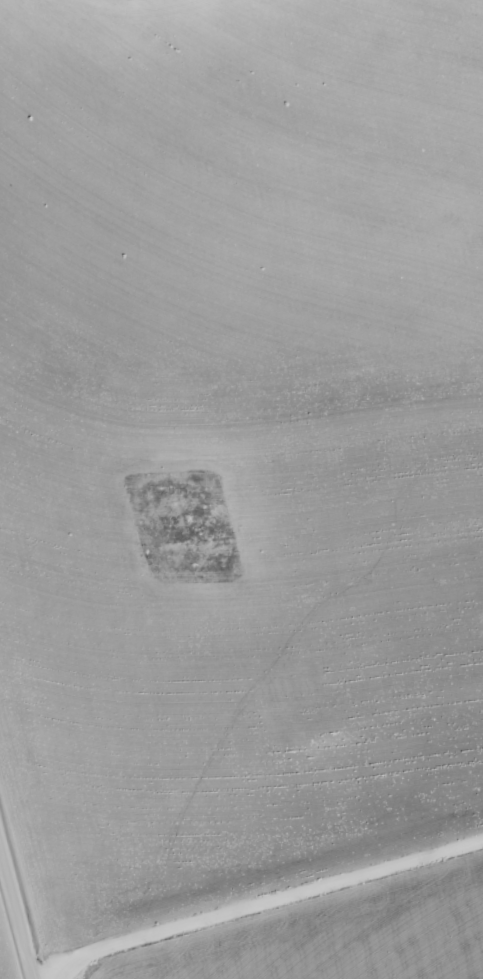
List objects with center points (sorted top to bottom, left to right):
road: (14, 924)

